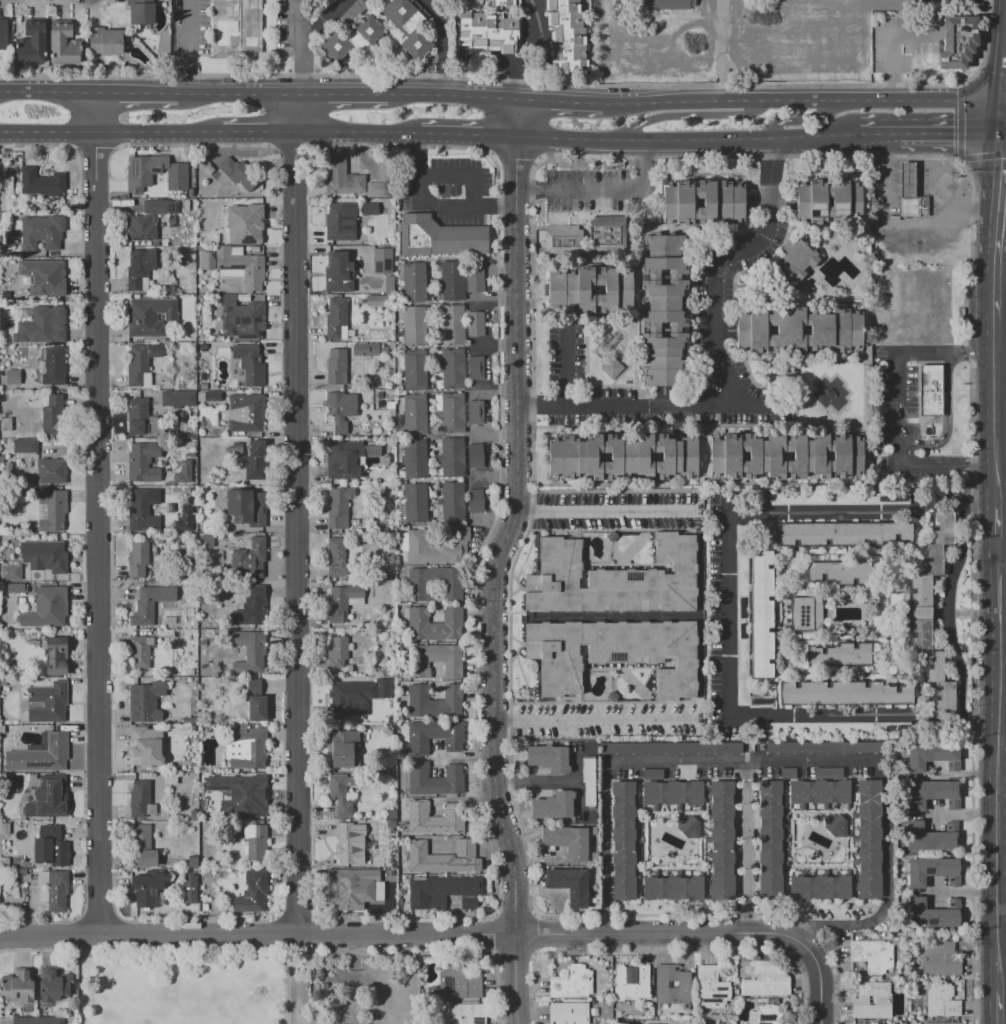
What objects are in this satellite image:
building: (498, 2)
building: (668, 4)
building: (562, 6)
building: (141, 12)
building: (351, 14)
building: (565, 20)
road: (295, 21)
building: (238, 26)
building: (406, 26)
building: (487, 31)
building: (568, 36)
building: (3, 38)
road: (304, 39)
building: (351, 40)
building: (105, 41)
building: (957, 42)
building: (32, 43)
building: (63, 44)
road: (187, 46)
road: (443, 46)
road: (893, 47)
building: (568, 51)
road: (1000, 51)
road: (539, 57)
road: (492, 62)
building: (568, 65)
road: (47, 91)
road: (143, 92)
road: (244, 93)
road: (342, 96)
road: (452, 100)
road: (556, 102)
road: (800, 102)
traffic signals: (996, 102)
road: (684, 117)
road: (996, 119)
road: (802, 120)
road: (110, 133)
road: (258, 134)
road: (348, 136)
road: (947, 137)
traffic signals: (996, 137)
road: (1001, 137)
road: (409, 138)
road: (466, 140)
road: (875, 140)
road: (683, 142)
road: (998, 152)
road: (876, 167)
building: (208, 169)
building: (239, 173)
road: (461, 177)
building: (343, 178)
building: (139, 180)
building: (909, 180)
building: (41, 182)
building: (380, 189)
road: (604, 190)
building: (191, 192)
building: (703, 202)
building: (828, 202)
building: (186, 205)
road: (436, 206)
building: (43, 208)
building: (915, 208)
building: (376, 209)
building: (214, 210)
road: (1003, 220)
building: (146, 221)
building: (253, 222)
building: (339, 223)
building: (40, 232)
building: (605, 236)
building: (439, 237)
building: (567, 241)
building: (799, 257)
building: (207, 261)
building: (382, 261)
road: (721, 263)
building: (240, 266)
building: (140, 269)
building: (338, 274)
road: (998, 274)
building: (42, 277)
building: (6, 280)
building: (459, 280)
road: (914, 280)
building: (414, 282)
building: (589, 292)
road: (1001, 297)
building: (377, 301)
road: (492, 301)
road: (996, 309)
building: (662, 311)
building: (149, 316)
building: (242, 318)
building: (337, 320)
building: (55, 322)
building: (475, 323)
building: (452, 325)
building: (415, 326)
building: (799, 330)
road: (494, 345)
building: (176, 347)
building: (366, 349)
building: (21, 350)
building: (250, 364)
building: (610, 366)
building: (138, 367)
building: (336, 367)
building: (475, 367)
road: (567, 367)
building: (55, 369)
building: (452, 369)
building: (414, 370)
building: (13, 377)
parking lot: (895, 384)
road: (495, 389)
building: (932, 394)
building: (209, 396)
building: (178, 399)
road: (656, 409)
building: (341, 410)
building: (476, 412)
road: (997, 412)
building: (246, 413)
building: (449, 413)
building: (414, 414)
road: (893, 414)
building: (53, 415)
building: (142, 420)
building: (6, 425)
road: (946, 431)
road: (496, 434)
road: (1001, 434)
building: (25, 446)
building: (475, 455)
building: (452, 457)
building: (707, 457)
building: (347, 458)
building: (415, 458)
building: (1, 459)
building: (140, 460)
building: (255, 461)
building: (52, 471)
building: (182, 472)
road: (497, 477)
building: (474, 500)
building: (452, 501)
building: (415, 503)
building: (247, 507)
building: (339, 507)
building: (51, 510)
road: (608, 512)
road: (97, 513)
building: (141, 513)
road: (863, 513)
road: (297, 514)
building: (182, 520)
road: (997, 530)
building: (842, 534)
building: (437, 546)
building: (49, 556)
building: (255, 556)
building: (336, 557)
road: (1001, 557)
building: (137, 560)
road: (499, 562)
building: (11, 572)
building: (839, 573)
building: (613, 579)
building: (434, 583)
building: (20, 589)
building: (342, 602)
building: (150, 603)
building: (251, 607)
building: (46, 608)
road: (945, 610)
building: (806, 613)
building: (919, 613)
building: (761, 614)
road: (728, 615)
building: (433, 623)
building: (202, 642)
building: (249, 651)
building: (139, 652)
building: (338, 652)
building: (613, 654)
building: (841, 654)
building: (56, 655)
building: (434, 660)
building: (191, 672)
road: (334, 677)
building: (254, 684)
building: (384, 691)
building: (843, 693)
building: (345, 699)
building: (145, 701)
building: (435, 701)
building: (760, 701)
building: (48, 702)
building: (257, 708)
road: (863, 717)
road: (594, 718)
building: (2, 729)
building: (434, 737)
building: (146, 747)
building: (826, 747)
building: (247, 748)
building: (671, 748)
building: (344, 750)
building: (40, 755)
building: (931, 756)
road: (465, 757)
building: (548, 758)
road: (864, 762)
building: (827, 772)
road: (998, 772)
road: (605, 775)
building: (170, 778)
building: (434, 779)
road: (548, 780)
building: (589, 781)
building: (819, 791)
building: (671, 792)
building: (254, 794)
building: (341, 794)
building: (932, 794)
building: (49, 798)
road: (465, 799)
building: (141, 800)
building: (553, 805)
building: (193, 814)
building: (392, 814)
building: (433, 817)
building: (835, 825)
building: (687, 826)
building: (4, 828)
building: (769, 838)
building: (924, 838)
building: (868, 839)
building: (623, 840)
building: (721, 840)
building: (568, 841)
building: (256, 842)
building: (349, 842)
building: (141, 846)
building: (50, 847)
building: (443, 859)
building: (5, 862)
building: (192, 862)
building: (928, 871)
building: (570, 885)
building: (821, 887)
building: (147, 888)
building: (338, 888)
building: (673, 888)
building: (190, 889)
building: (54, 890)
building: (251, 891)
building: (444, 891)
building: (15, 892)
building: (386, 902)
building: (925, 914)
road: (396, 935)
building: (872, 956)
building: (939, 958)
building: (767, 978)
road: (817, 979)
building: (456, 981)
building: (572, 982)
building: (633, 983)
building: (53, 985)
building: (671, 986)
building: (18, 987)
building: (711, 987)
park: (185, 989)
building: (872, 1000)
building: (941, 1000)
road: (999, 1006)
building: (463, 1013)
building: (568, 1013)
park: (182, 1015)
building: (766, 1015)
building: (39, 1020)
building: (865, 1023)
building: (872, 1023)
building: (941, 1023)

